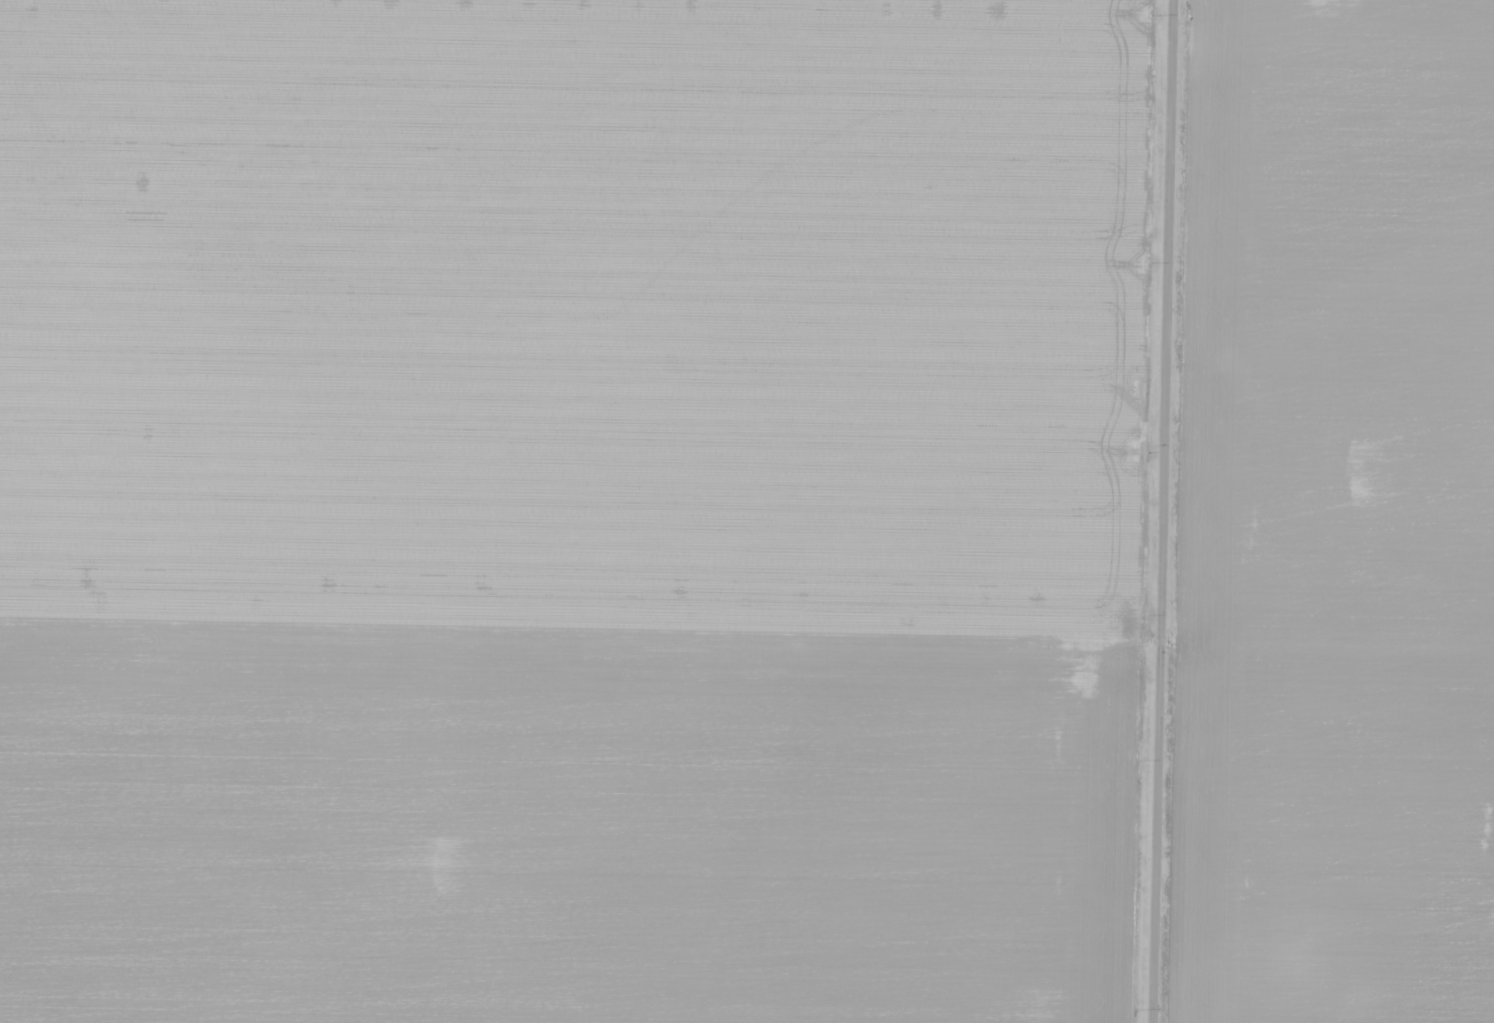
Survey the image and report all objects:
road: (1159, 511)

